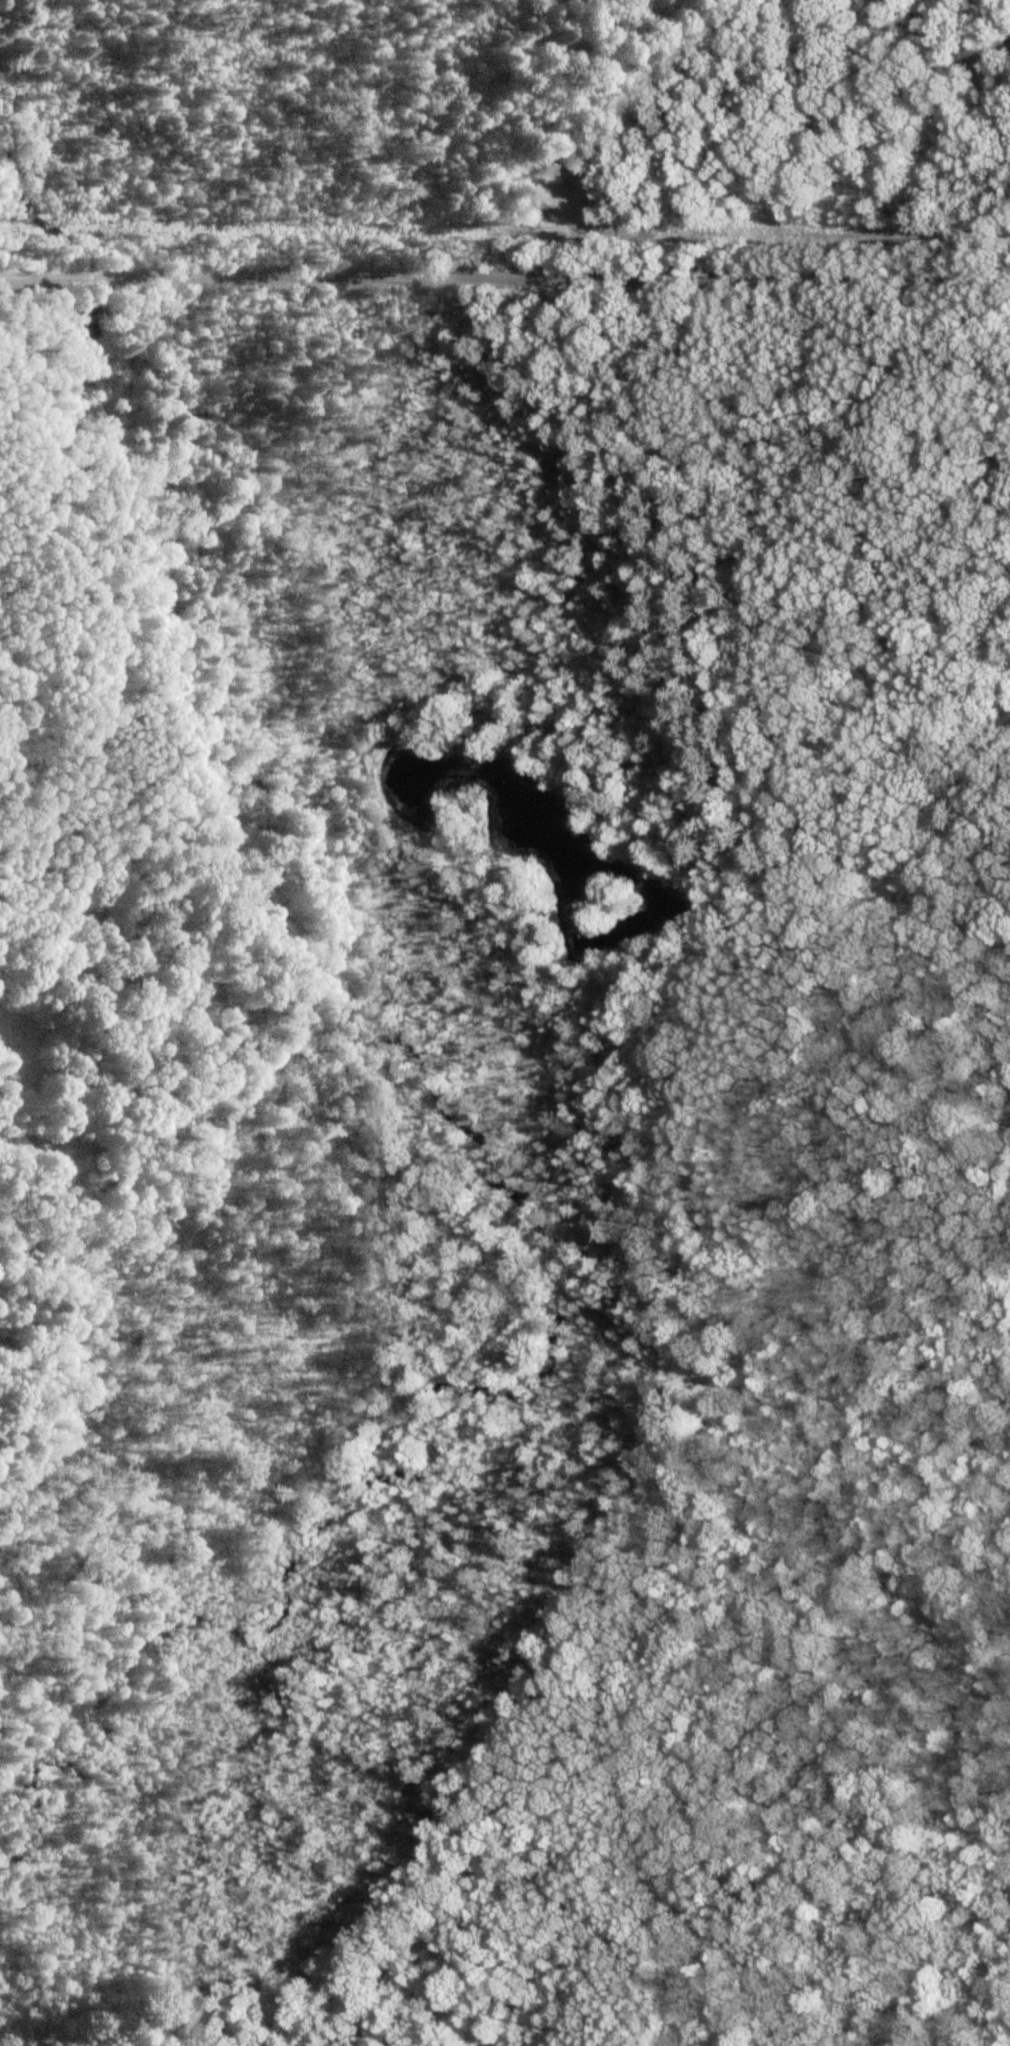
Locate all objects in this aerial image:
road: (505, 278)

